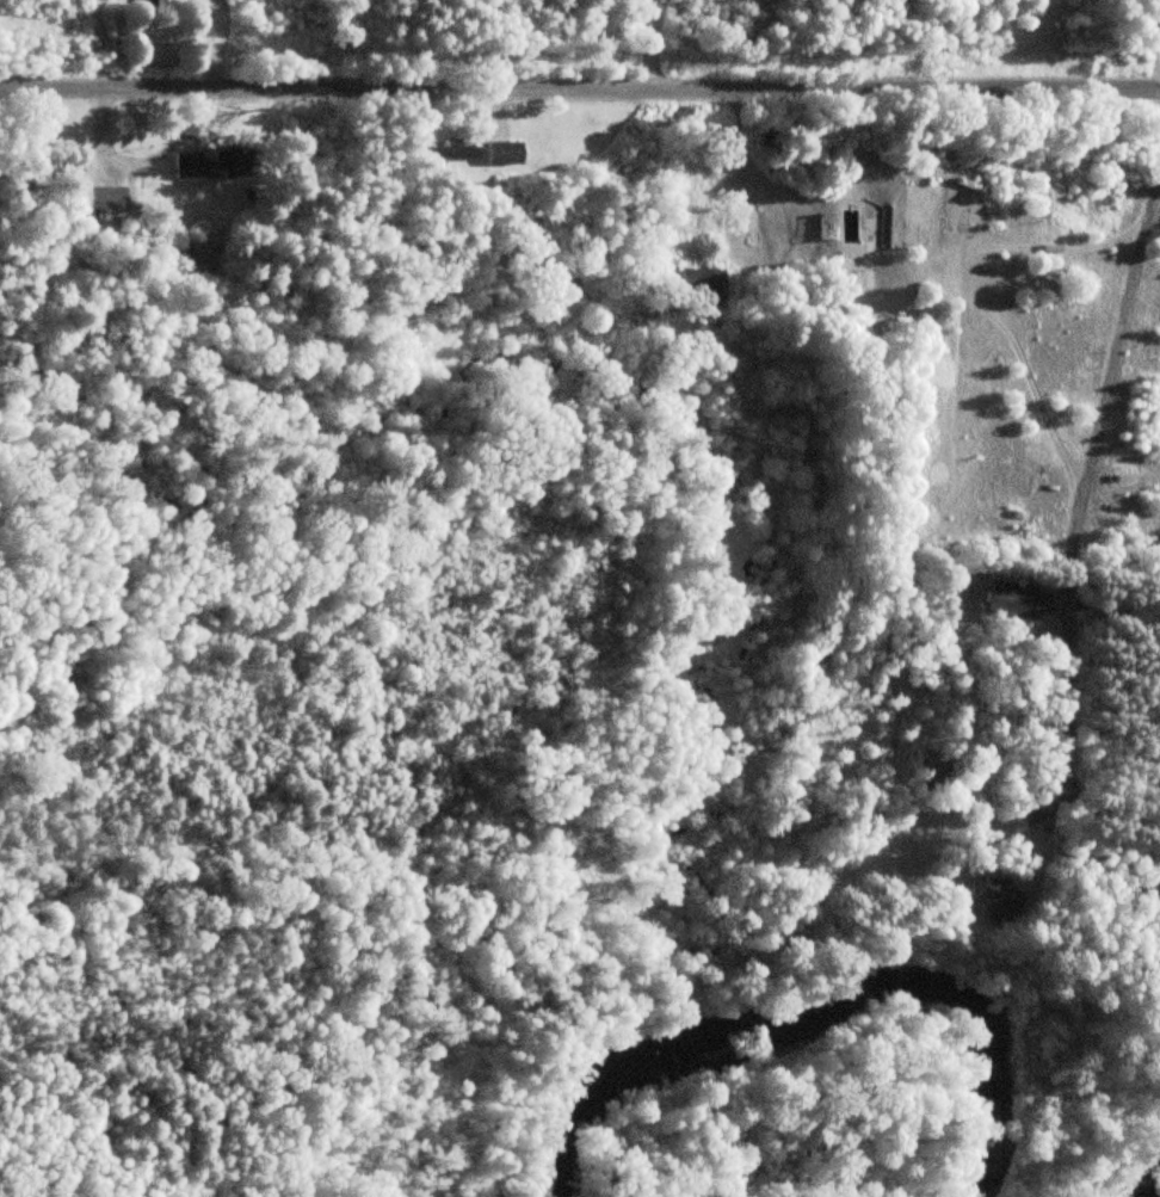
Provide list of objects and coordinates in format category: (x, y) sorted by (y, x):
road: (649, 44)
road: (580, 85)
building: (449, 153)
building: (504, 153)
road: (142, 162)
building: (215, 163)
building: (826, 226)
building: (702, 283)
road: (1082, 494)
building: (1014, 601)
building: (1002, 896)
river: (820, 1000)
river: (1153, 1187)

